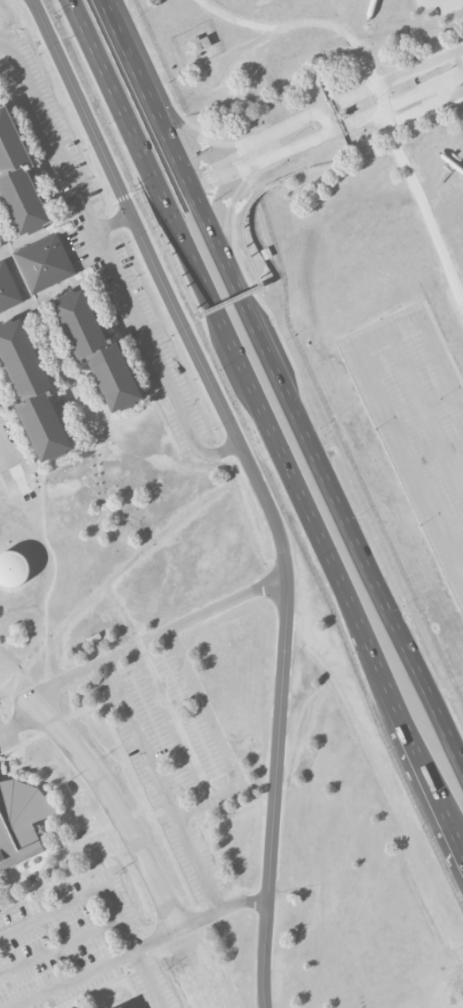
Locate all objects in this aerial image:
parking lot: (440, 5)
building: (200, 43)
road: (399, 91)
road: (169, 139)
road: (136, 149)
road: (367, 155)
road: (253, 156)
building: (18, 180)
road: (131, 194)
road: (113, 223)
building: (44, 263)
road: (109, 263)
building: (8, 289)
road: (239, 291)
road: (237, 298)
road: (209, 308)
building: (97, 351)
road: (399, 352)
building: (33, 391)
parking lot: (417, 422)
road: (404, 446)
road: (81, 454)
road: (8, 459)
road: (257, 481)
road: (309, 521)
road: (354, 535)
road: (61, 736)
road: (140, 737)
road: (428, 782)
road: (236, 786)
road: (458, 846)
building: (14, 848)
road: (82, 897)
road: (157, 939)
road: (71, 978)
road: (148, 978)
building: (120, 1007)
building: (123, 1007)

